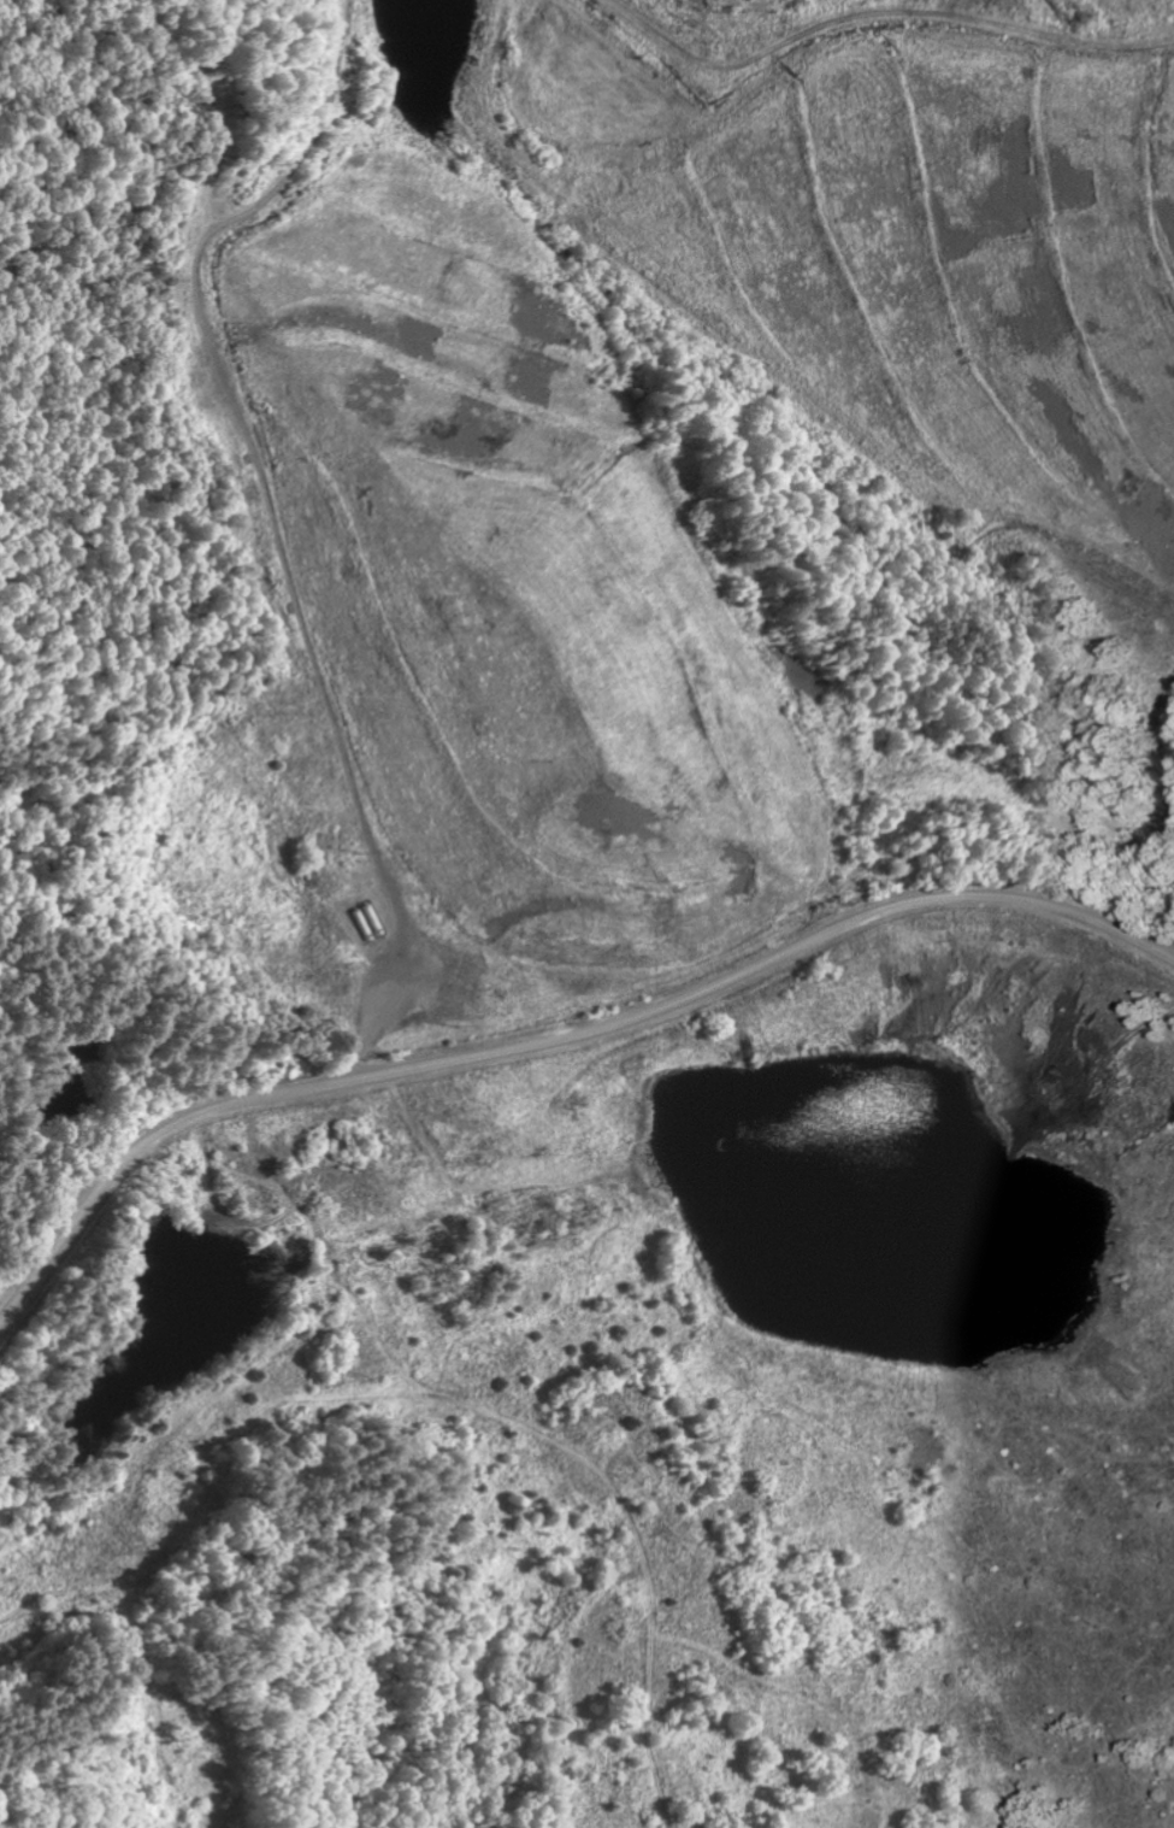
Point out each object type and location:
road: (557, 1041)

